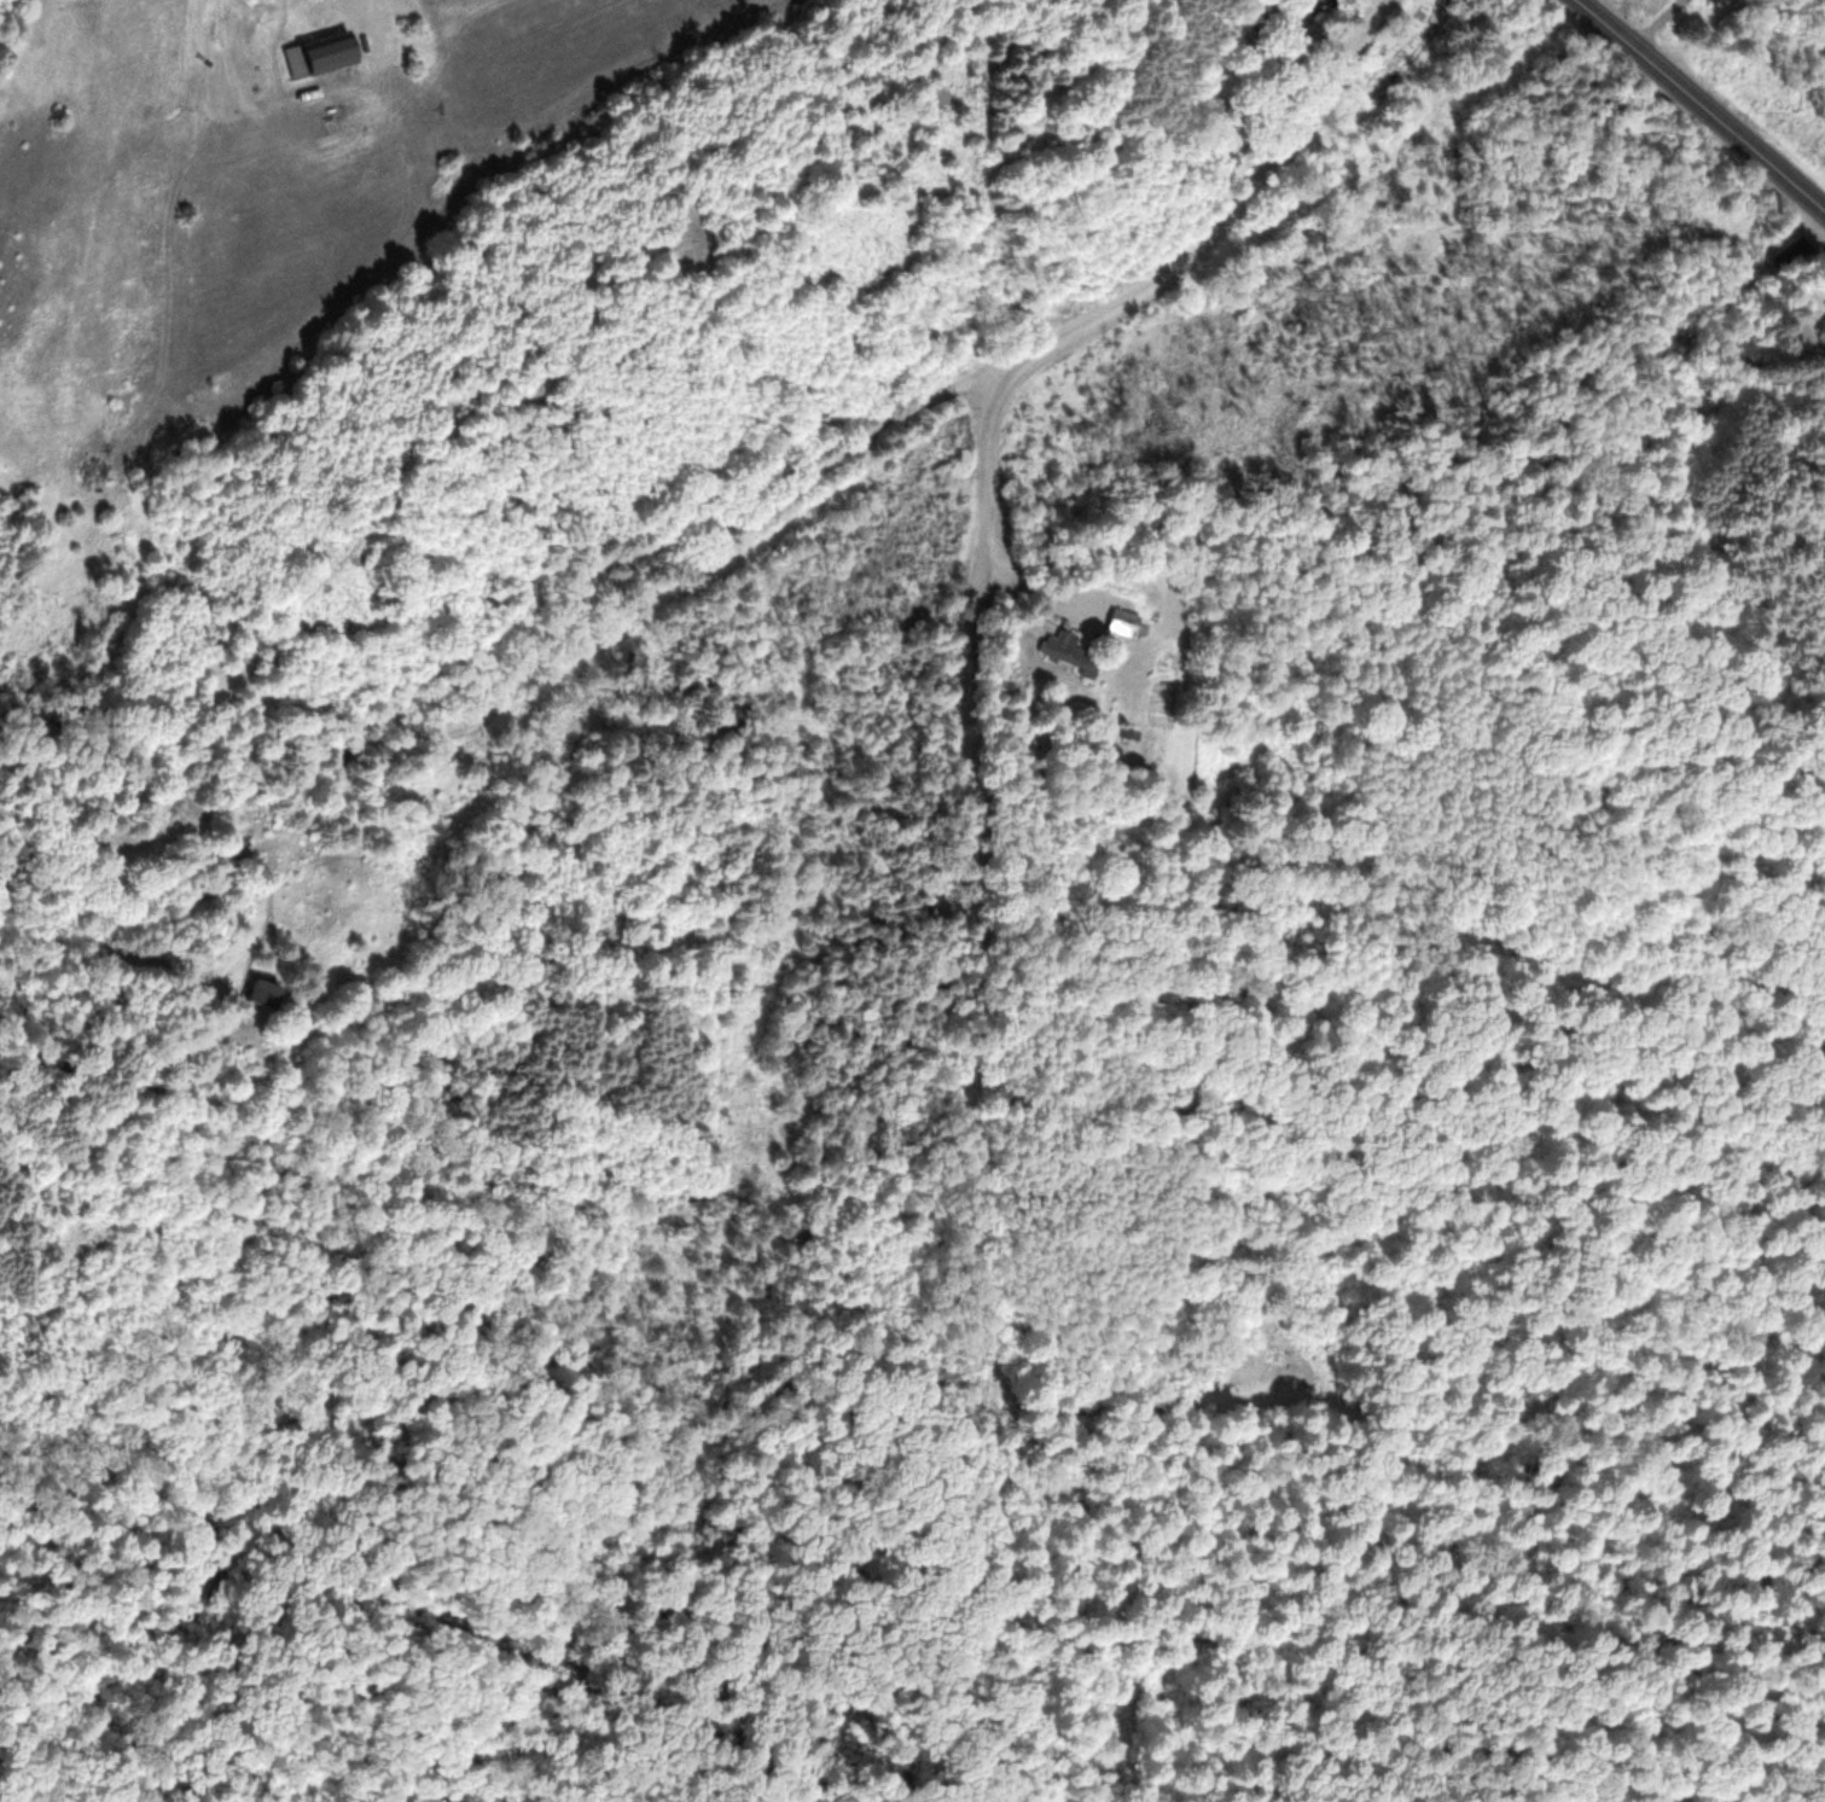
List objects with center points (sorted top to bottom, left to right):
building: (325, 56)
road: (1699, 106)
building: (1824, 306)
building: (1823, 321)
road: (594, 588)
building: (1124, 624)
building: (1070, 655)
road: (978, 816)

